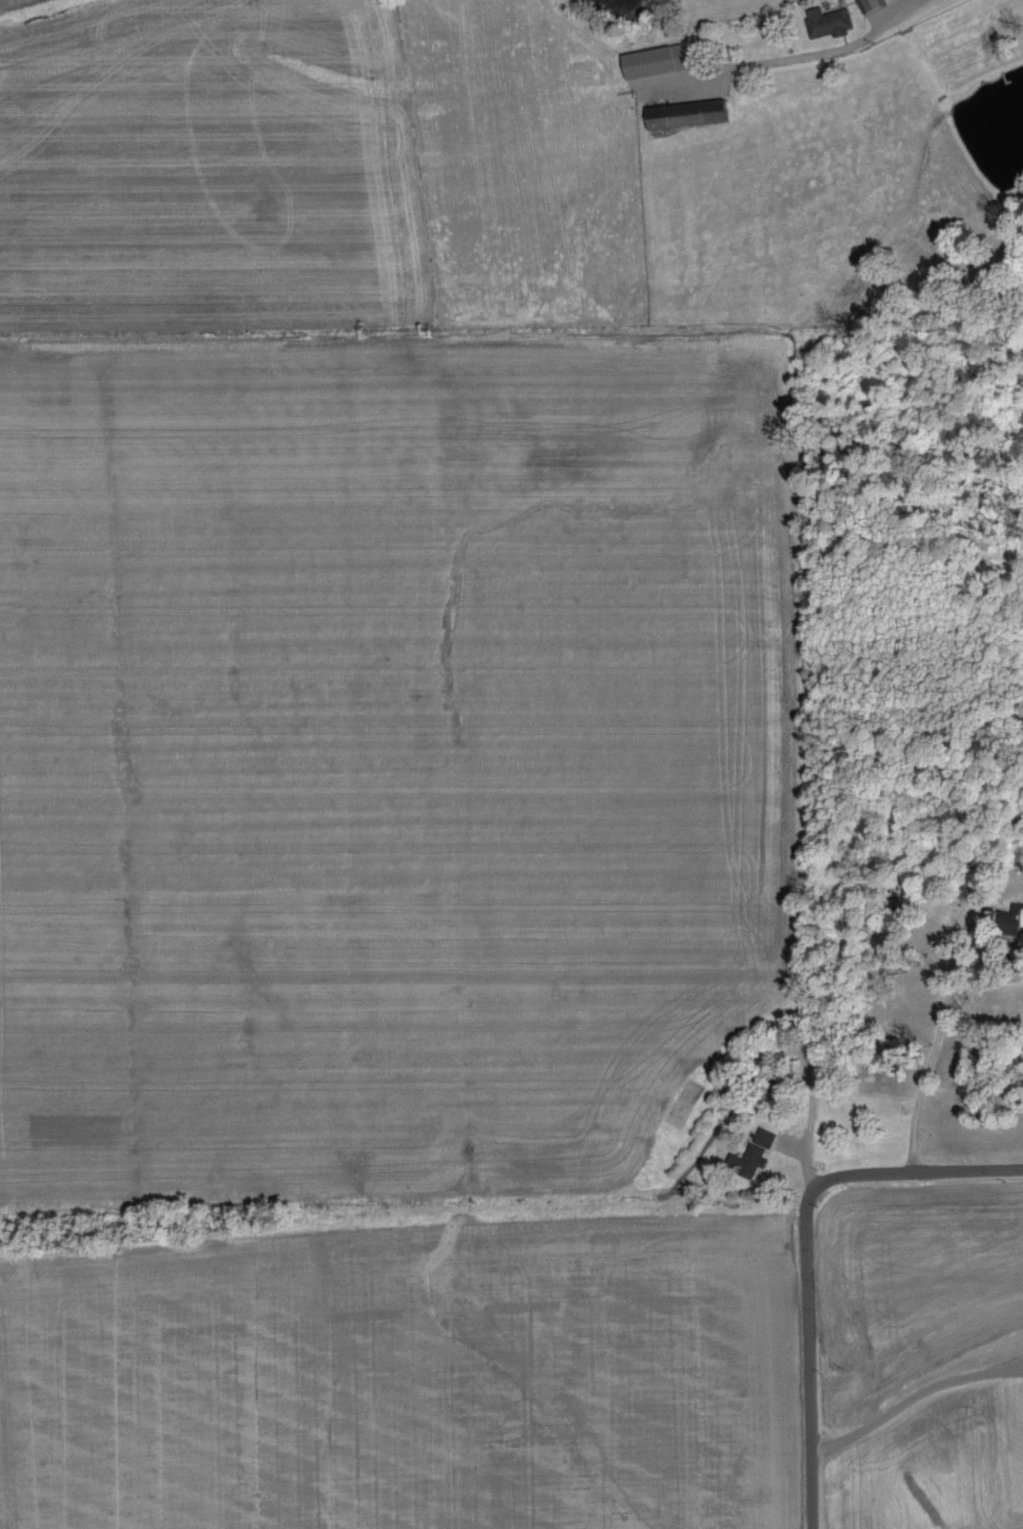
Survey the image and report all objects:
building: (871, 6)
road: (917, 6)
building: (829, 23)
building: (657, 63)
building: (687, 115)
building: (758, 1152)
road: (870, 1177)
road: (808, 1399)

